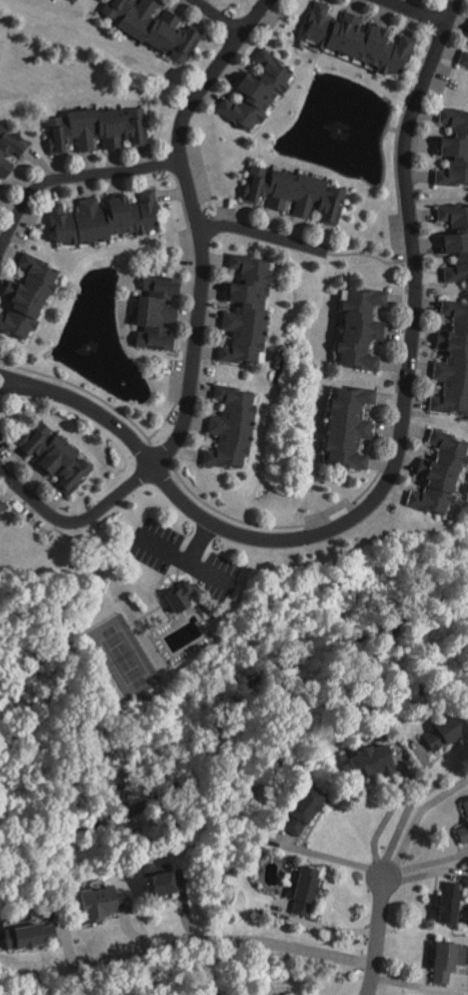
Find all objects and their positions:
building: (71, 0)
road: (416, 11)
road: (217, 17)
building: (148, 27)
building: (466, 31)
building: (461, 59)
building: (251, 91)
building: (93, 129)
building: (452, 148)
building: (9, 150)
road: (72, 177)
building: (290, 193)
building: (98, 219)
road: (261, 234)
building: (453, 240)
road: (368, 255)
building: (26, 297)
building: (242, 311)
building: (151, 313)
road: (197, 319)
building: (355, 329)
building: (450, 360)
road: (8, 379)
road: (8, 384)
building: (344, 425)
building: (225, 428)
building: (52, 457)
road: (395, 460)
building: (435, 473)
building: (1, 507)
road: (196, 543)
road: (181, 563)
building: (176, 596)
park: (129, 667)
building: (444, 729)
building: (366, 762)
road: (407, 808)
building: (297, 809)
building: (464, 811)
road: (416, 817)
road: (383, 819)
road: (333, 859)
building: (305, 870)
building: (155, 882)
building: (299, 892)
building: (96, 902)
building: (444, 902)
road: (375, 933)
building: (24, 934)
road: (231, 946)
building: (442, 960)

